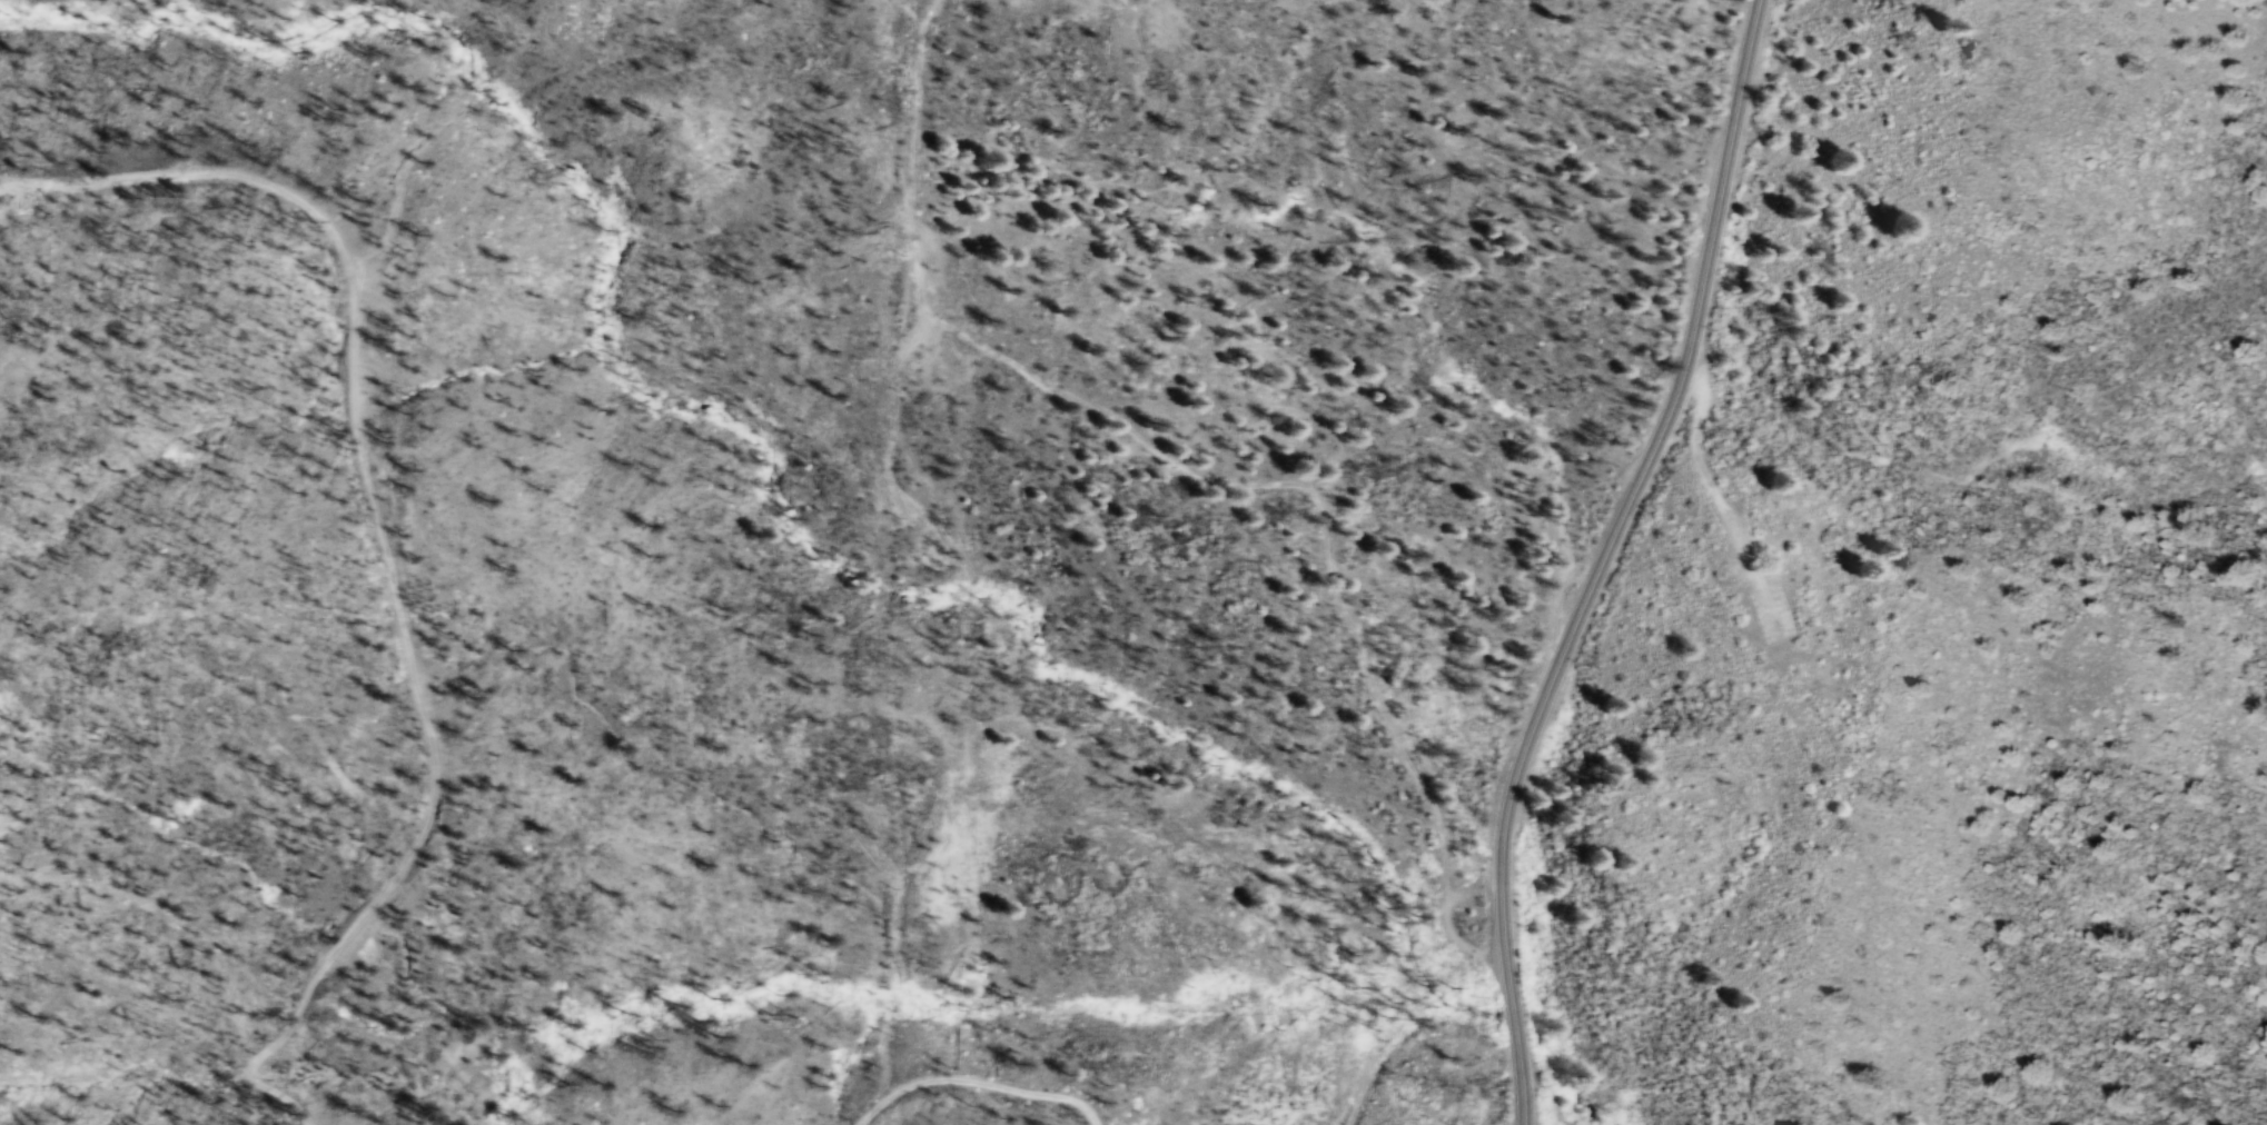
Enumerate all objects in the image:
road: (389, 544)
road: (1601, 559)
road: (977, 1086)

